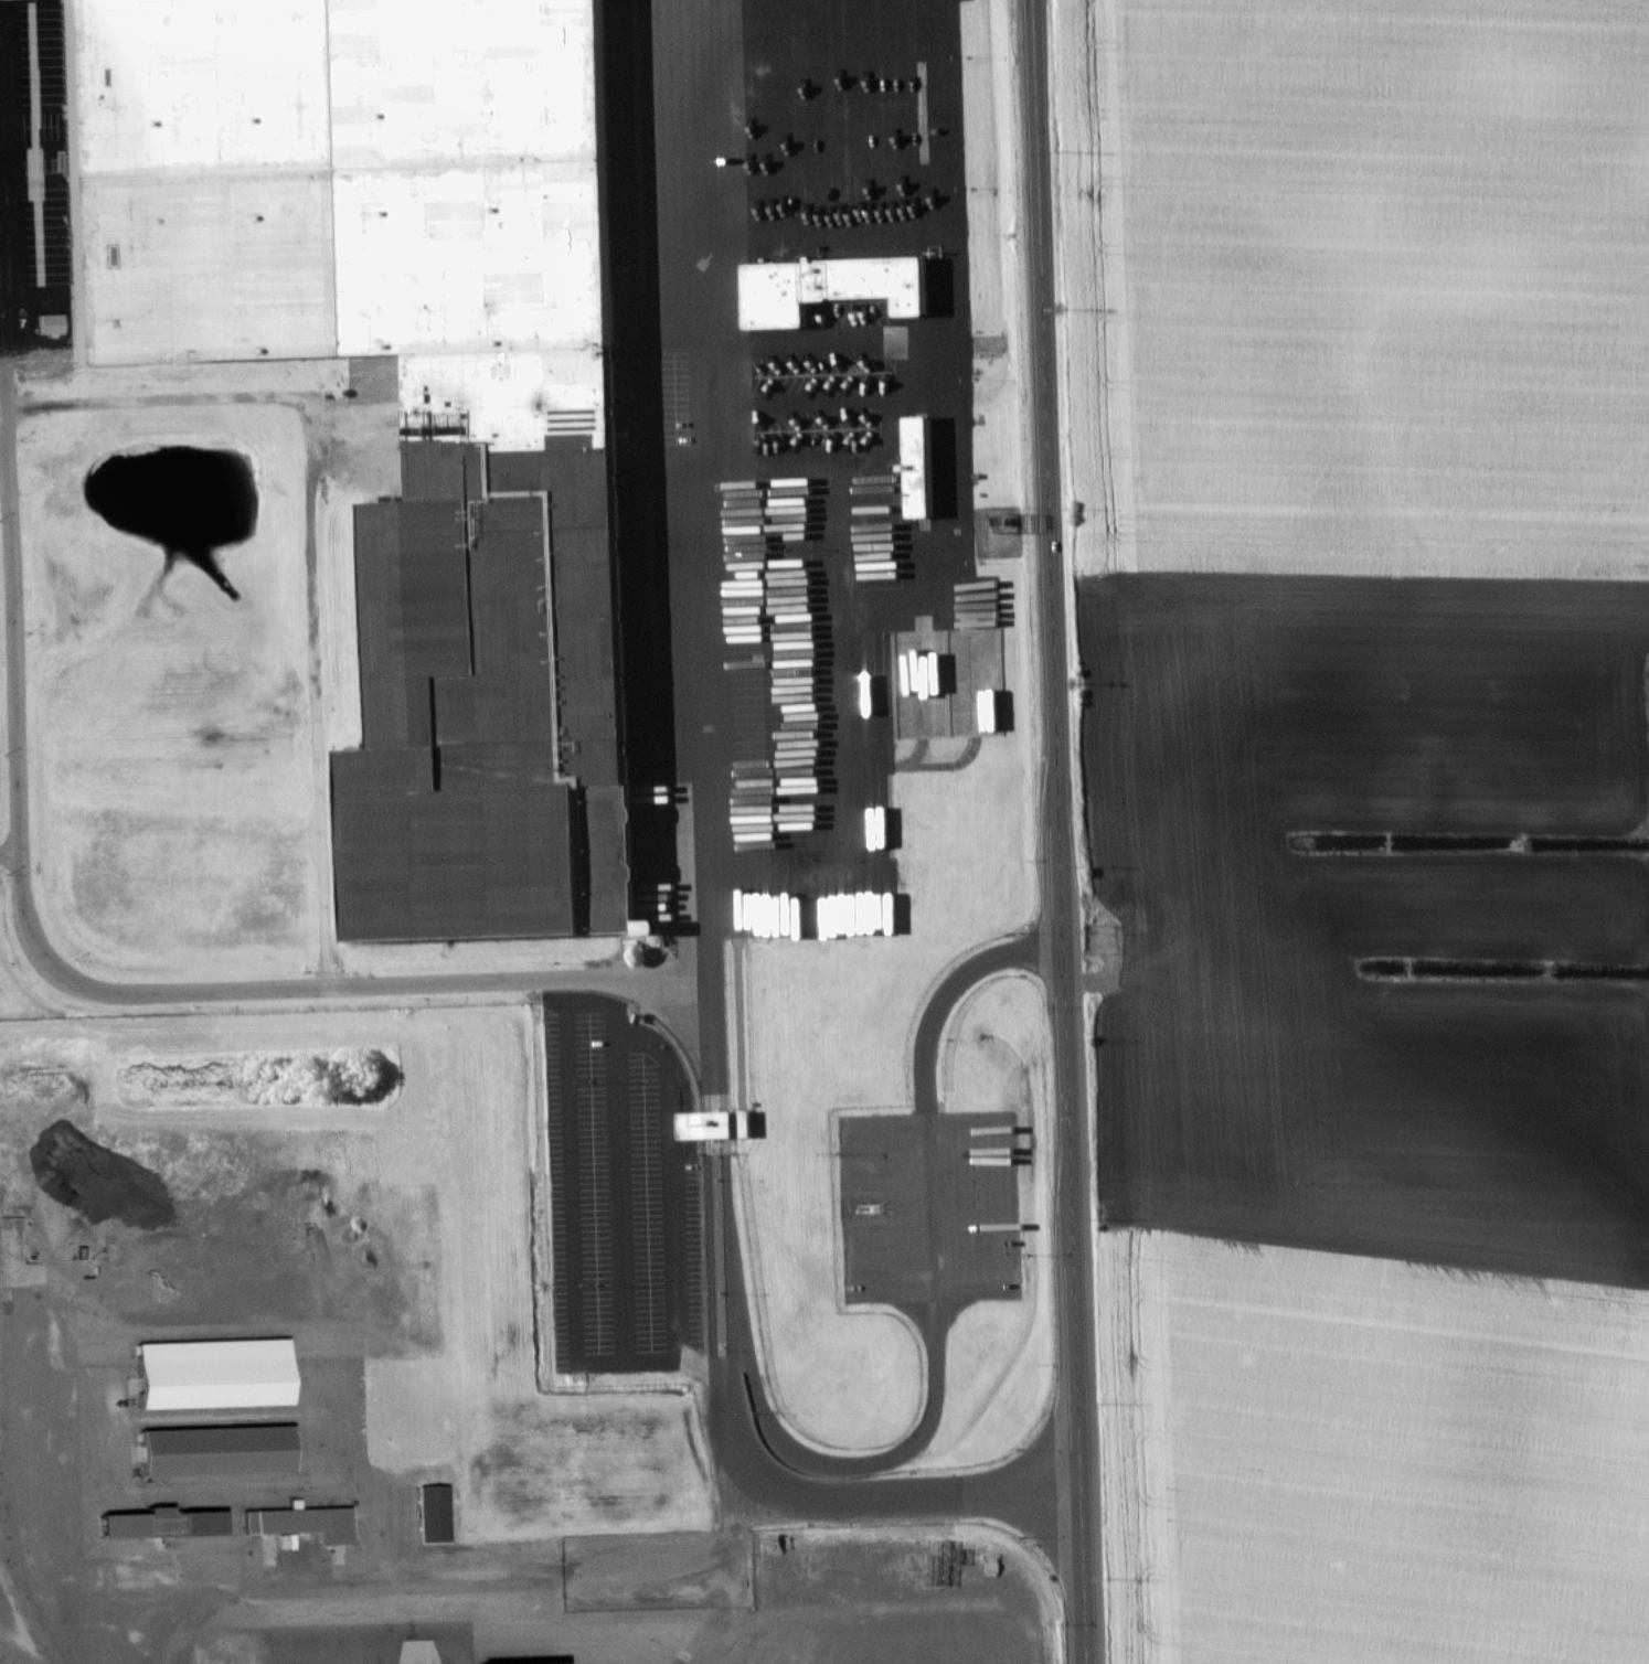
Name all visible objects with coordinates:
building: (837, 287)
railway: (179, 350)
building: (474, 367)
building: (919, 499)
road: (693, 512)
road: (311, 537)
road: (1061, 831)
road: (74, 981)
road: (565, 1060)
road: (715, 1123)
building: (719, 1127)
road: (724, 1234)
road: (932, 1282)
road: (726, 1348)
building: (220, 1374)
building: (223, 1450)
road: (859, 1497)
building: (437, 1514)
building: (306, 1523)
building: (130, 1524)
road: (539, 1577)

